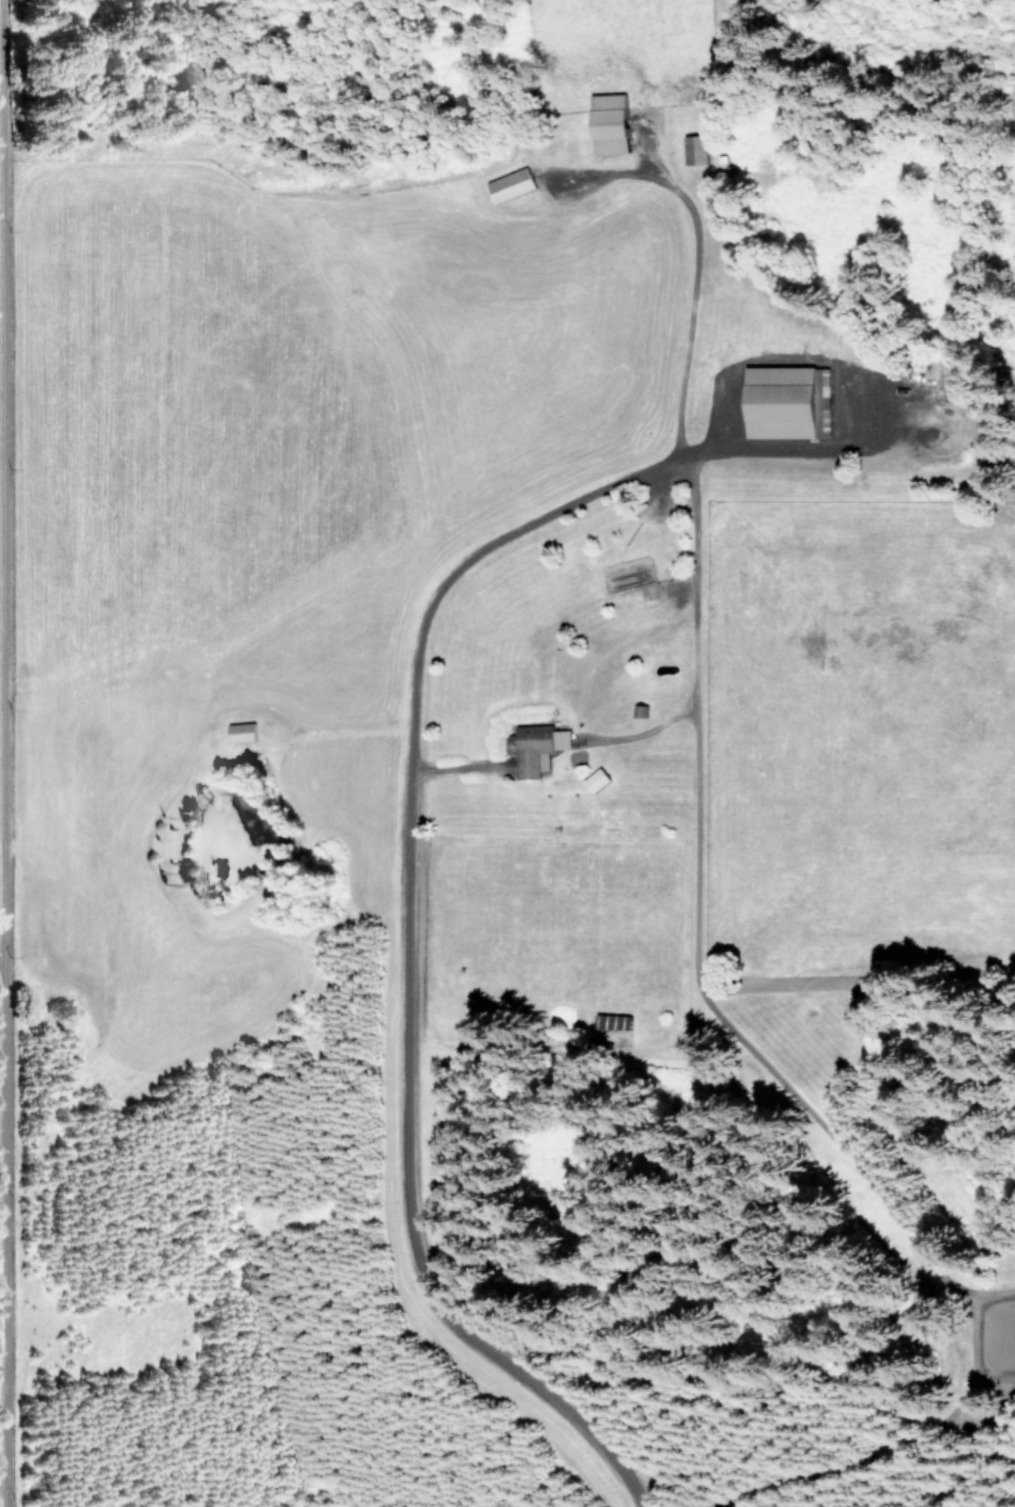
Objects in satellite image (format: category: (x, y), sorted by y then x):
building: (607, 122)
building: (694, 148)
building: (509, 184)
building: (779, 401)
road: (3, 430)
crop: (525, 583)
building: (240, 731)
building: (535, 746)
building: (614, 1020)
road: (15, 1327)

